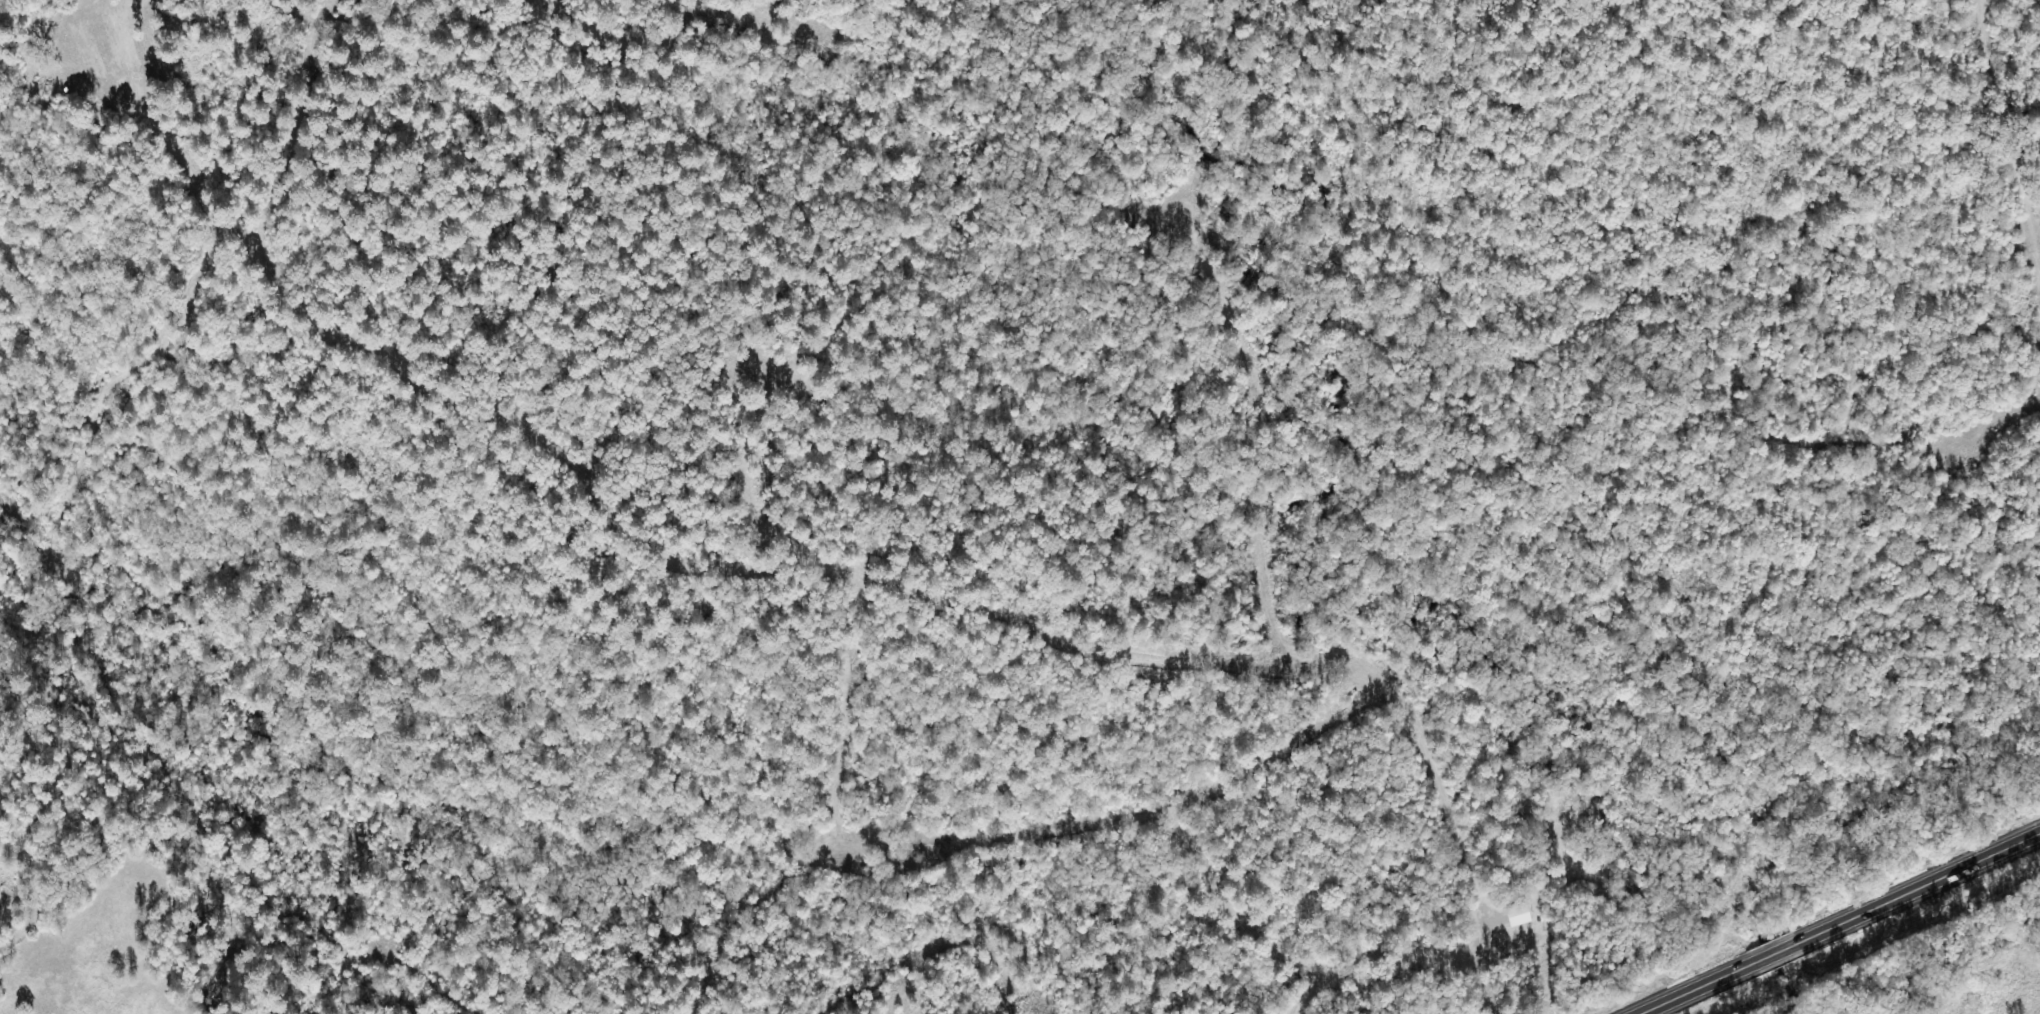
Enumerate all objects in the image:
road: (1838, 922)

